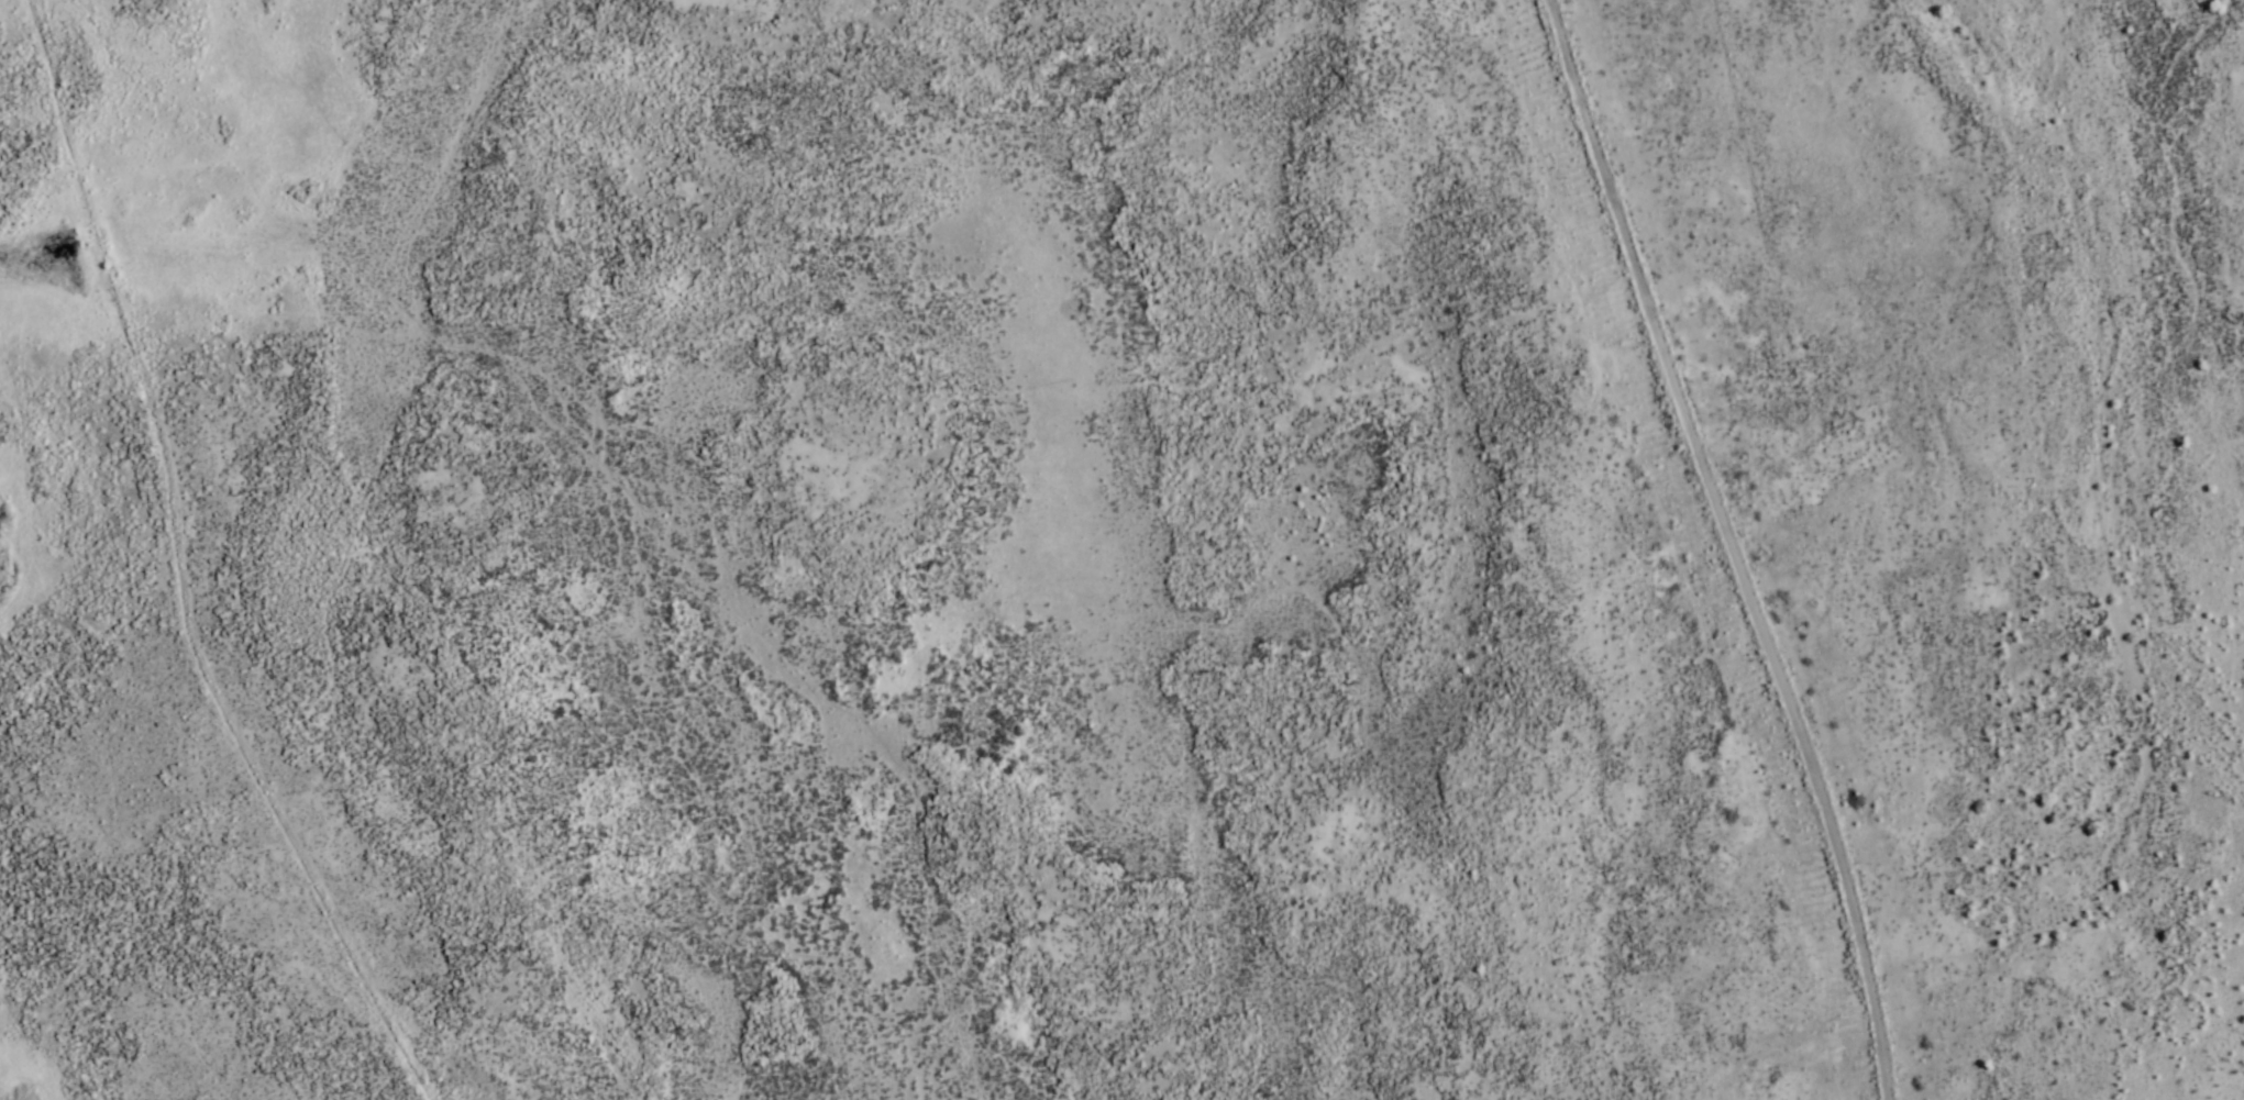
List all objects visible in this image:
road: (1713, 546)

